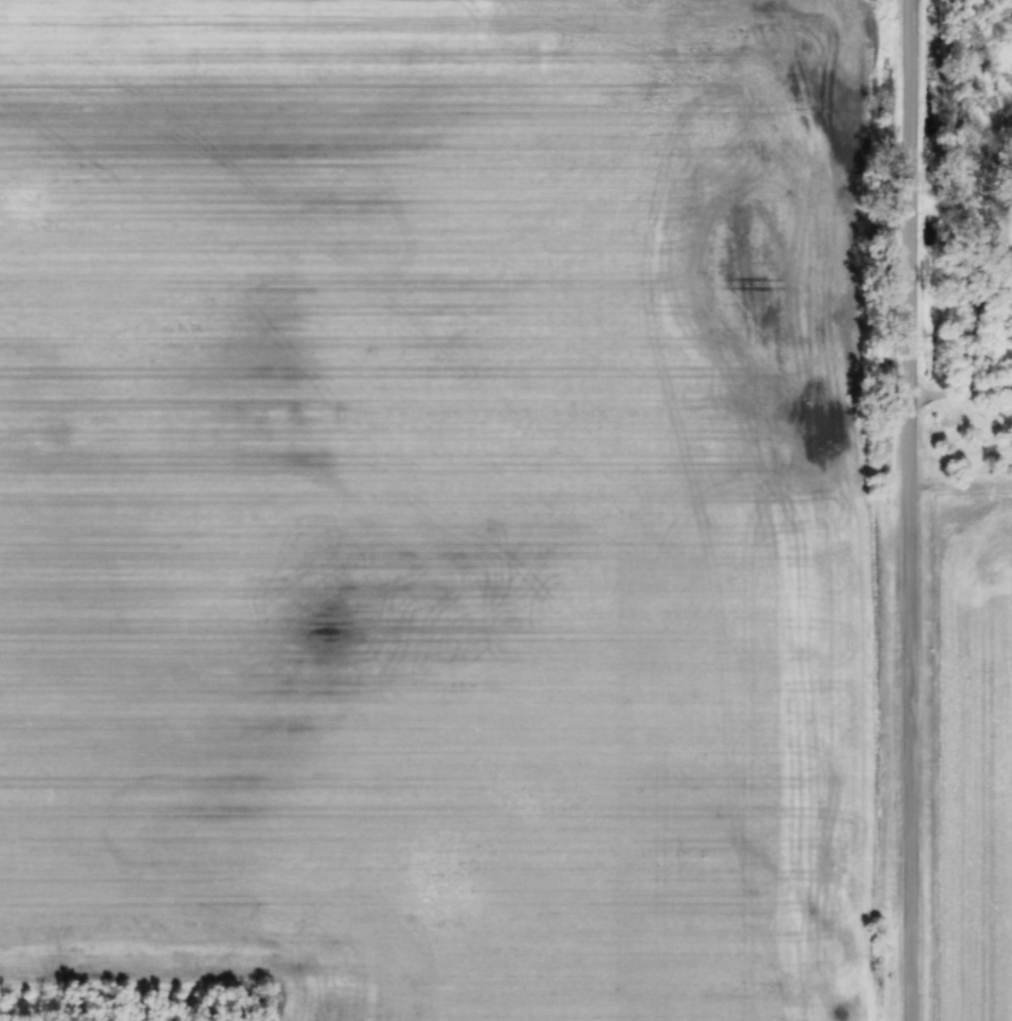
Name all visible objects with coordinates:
road: (910, 510)

